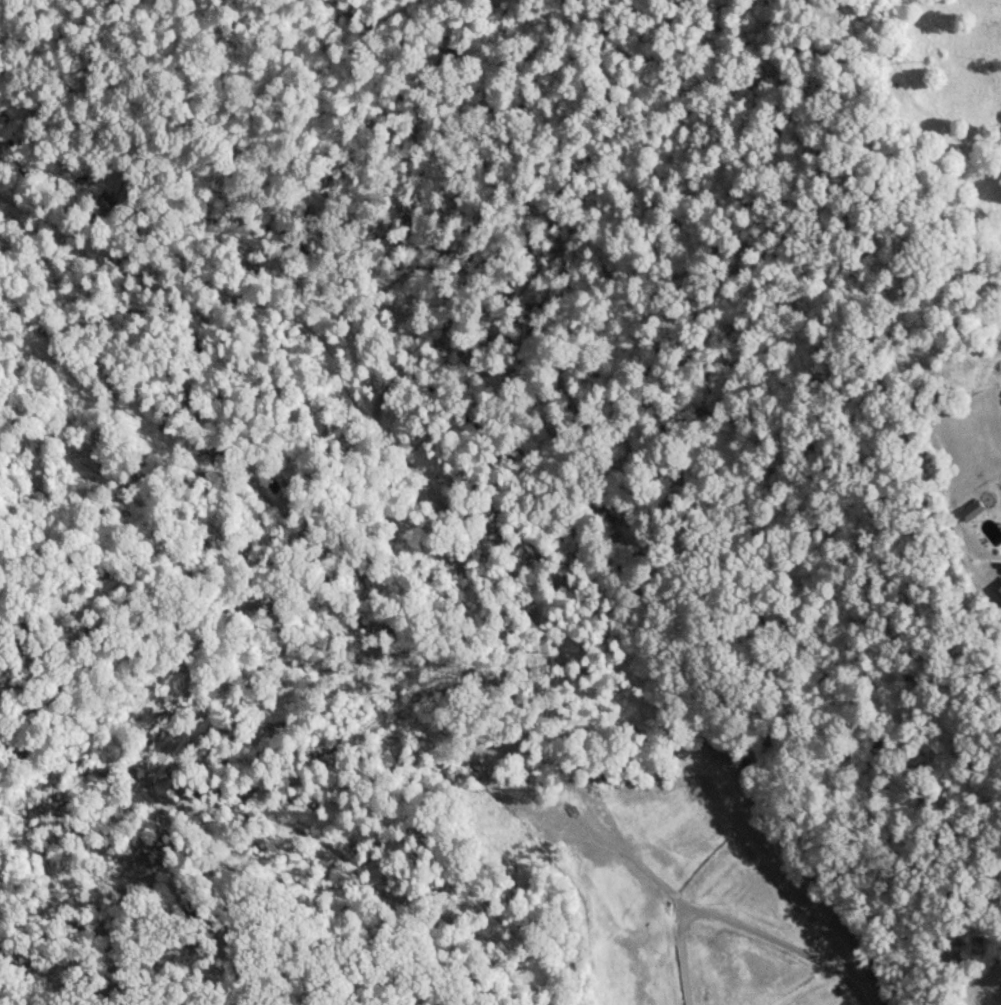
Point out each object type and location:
building: (998, 591)

